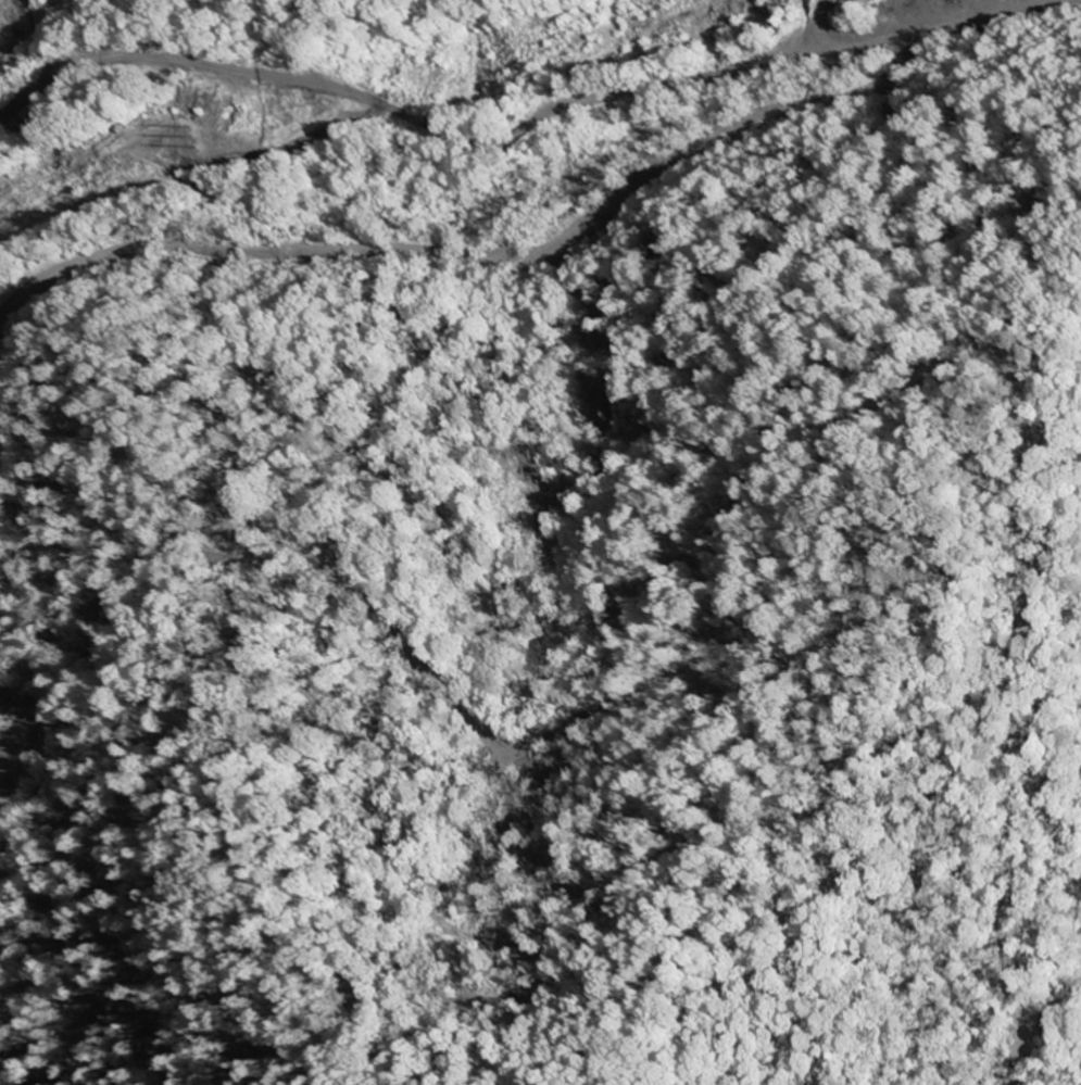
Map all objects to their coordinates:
road: (824, 12)
road: (403, 114)
power tower: (190, 131)
power tower: (14, 213)

